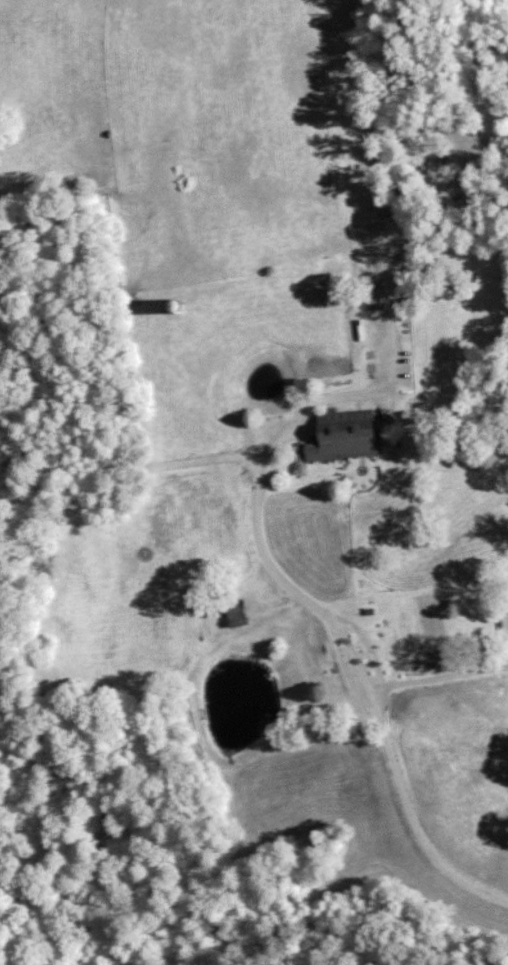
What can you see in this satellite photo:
building: (171, 305)
building: (340, 435)
building: (234, 612)
road: (332, 625)

